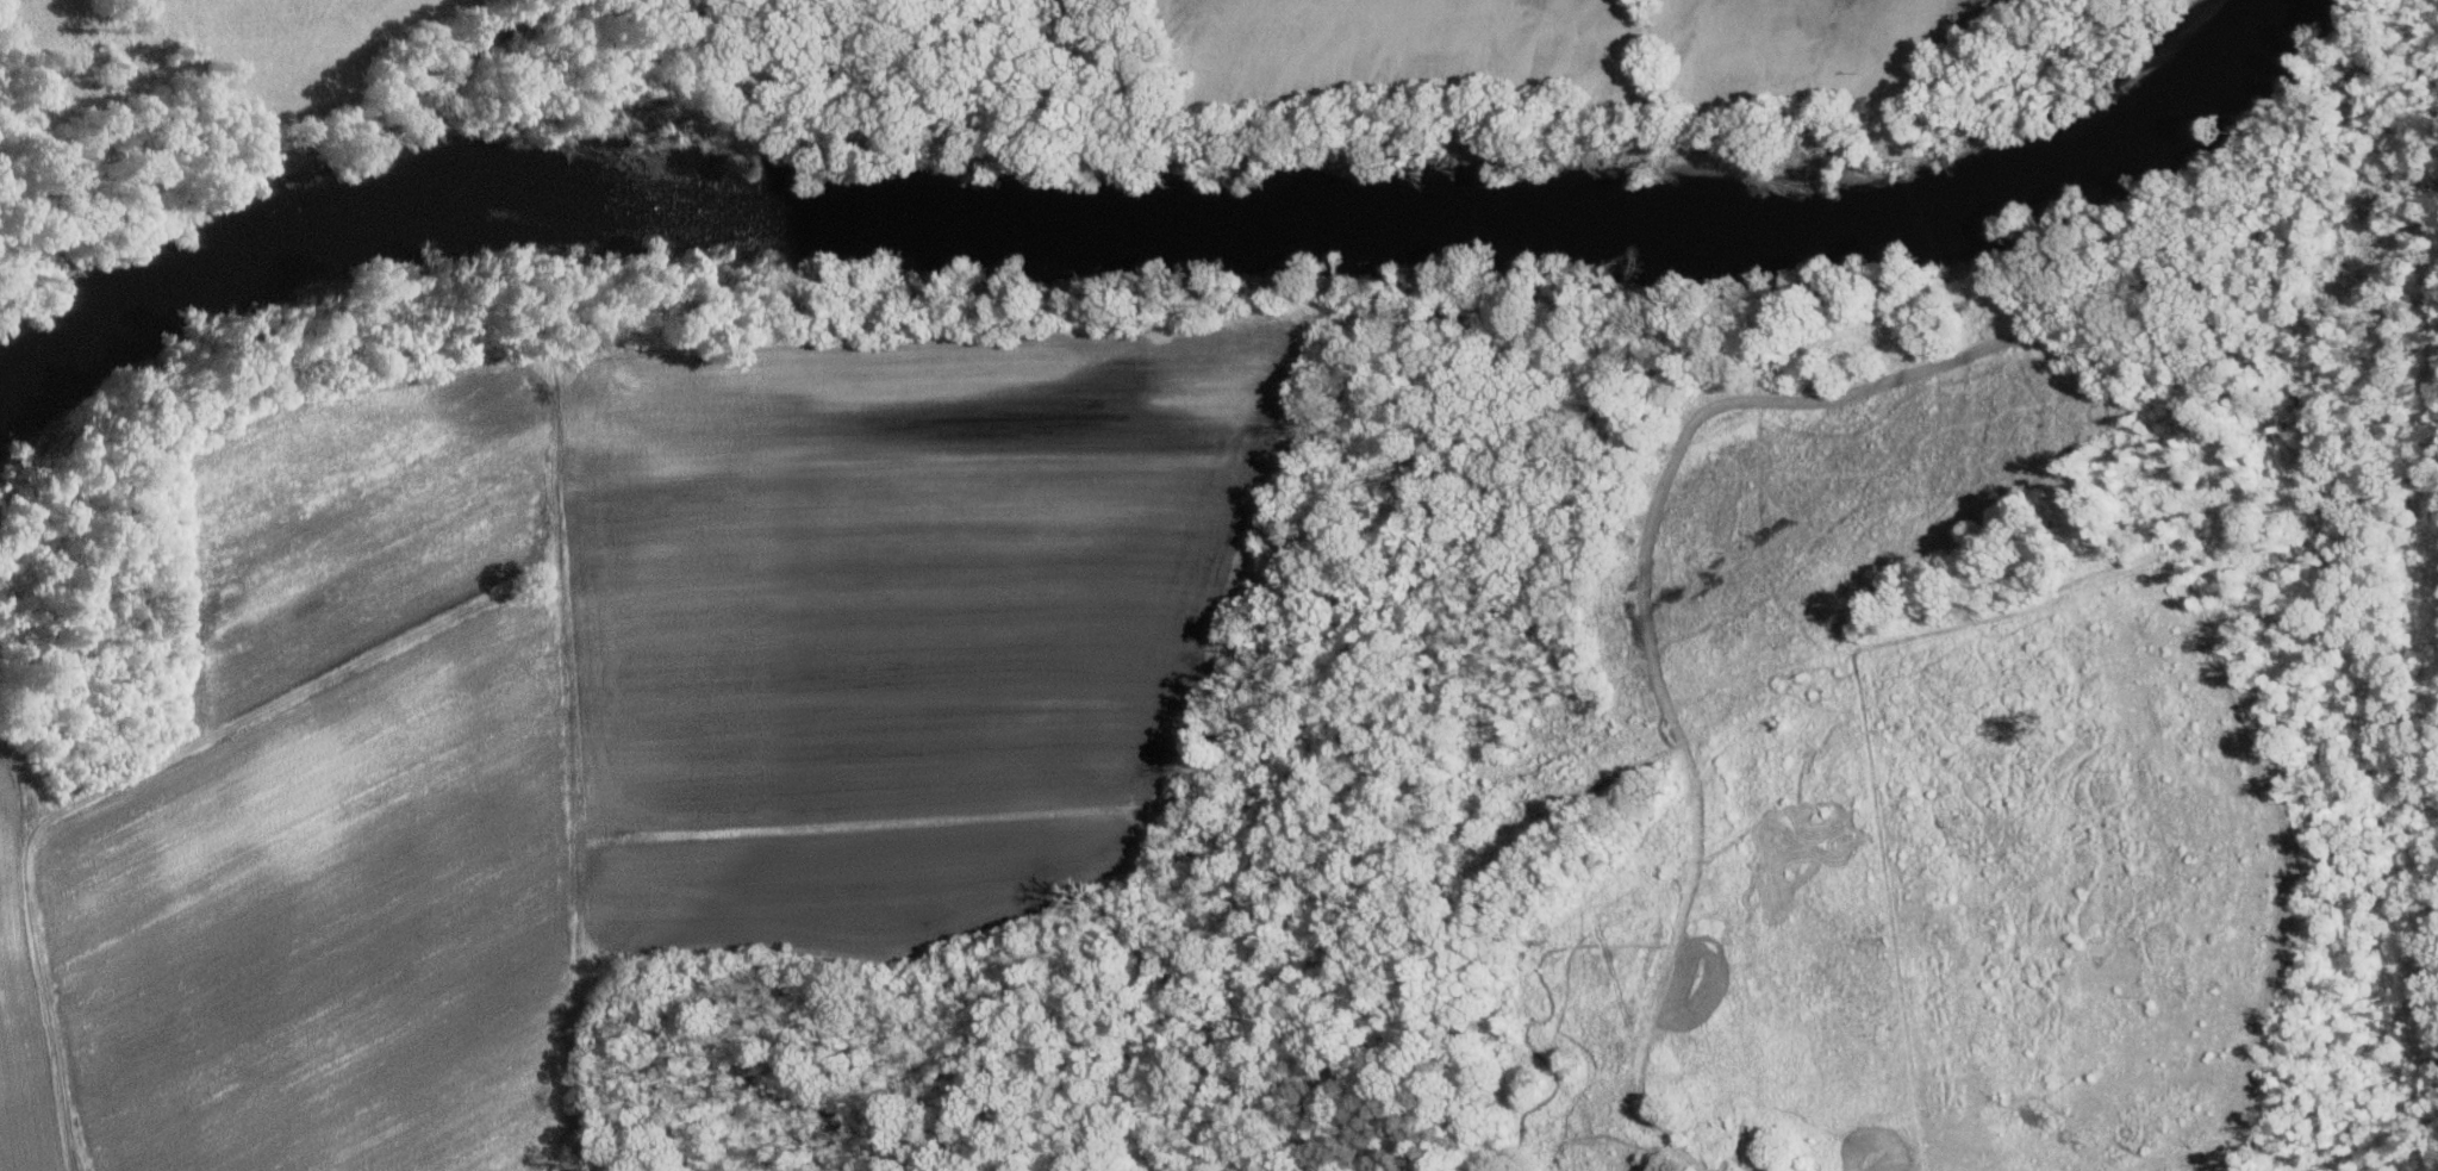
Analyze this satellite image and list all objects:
river: (2126, 89)
river: (952, 205)
river: (1747, 220)
river: (260, 253)
river: (48, 361)

